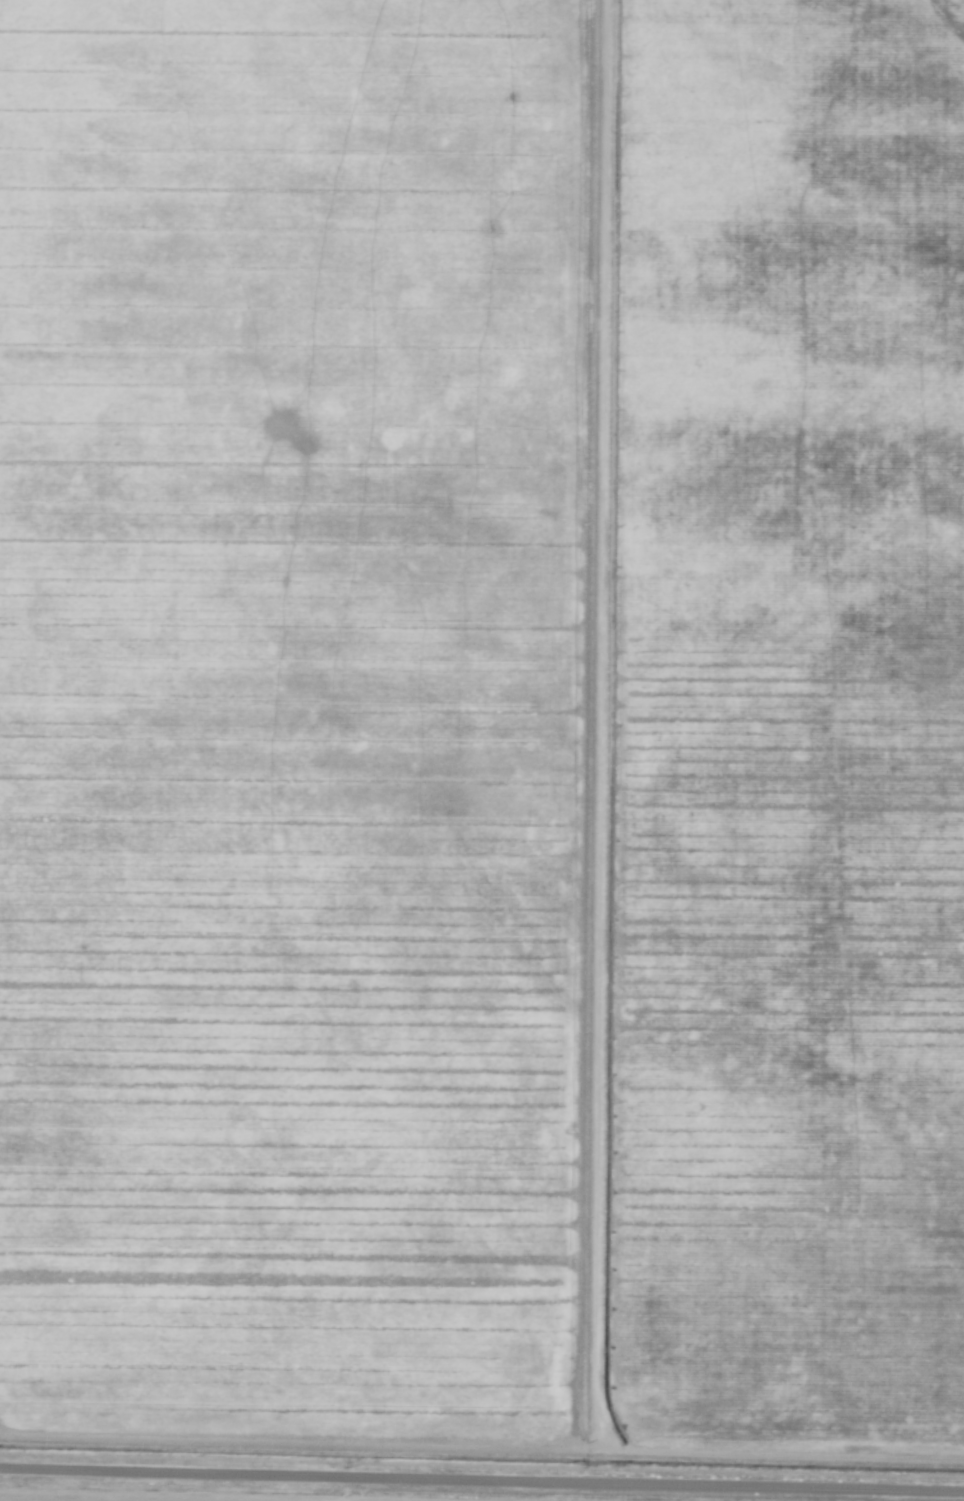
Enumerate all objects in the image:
road: (600, 742)
road: (482, 1481)

